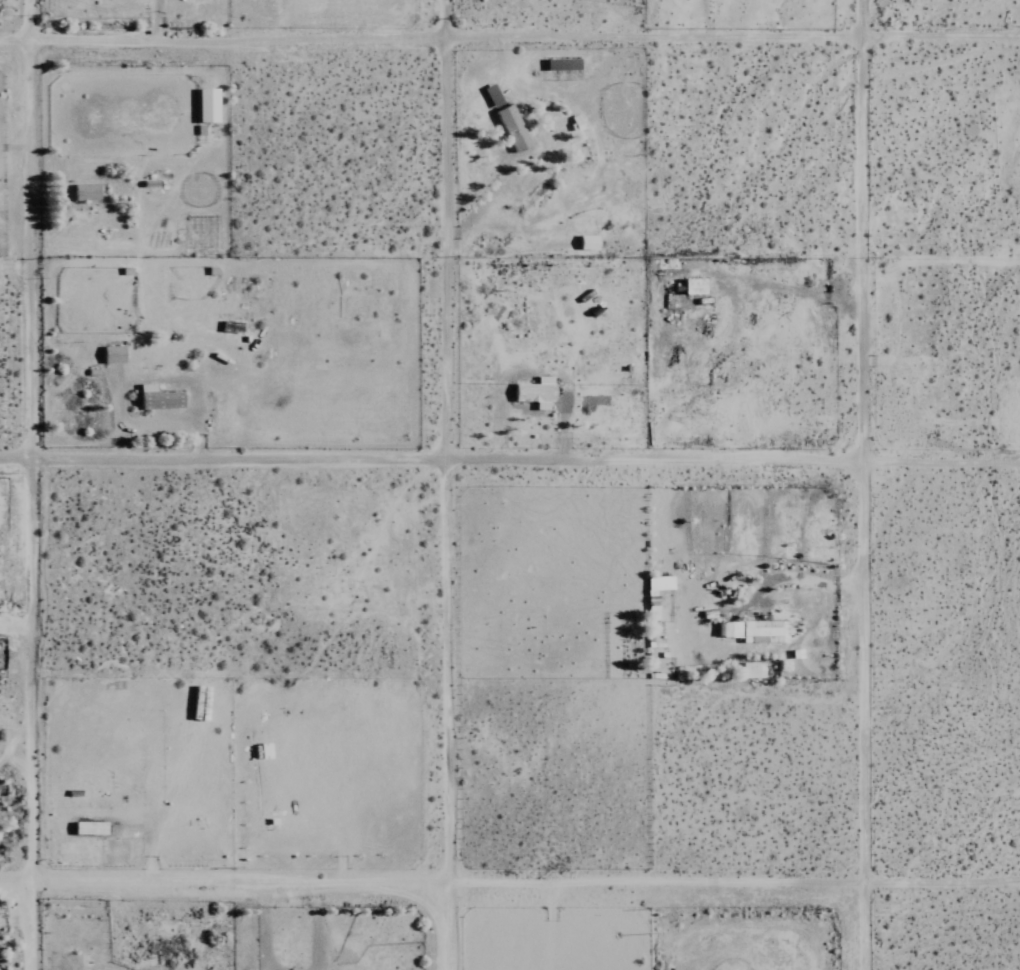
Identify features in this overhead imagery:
road: (510, 45)
road: (1, 146)
road: (12, 150)
road: (12, 191)
road: (510, 466)
road: (27, 484)
road: (443, 485)
road: (885, 485)
road: (795, 578)
road: (509, 890)

